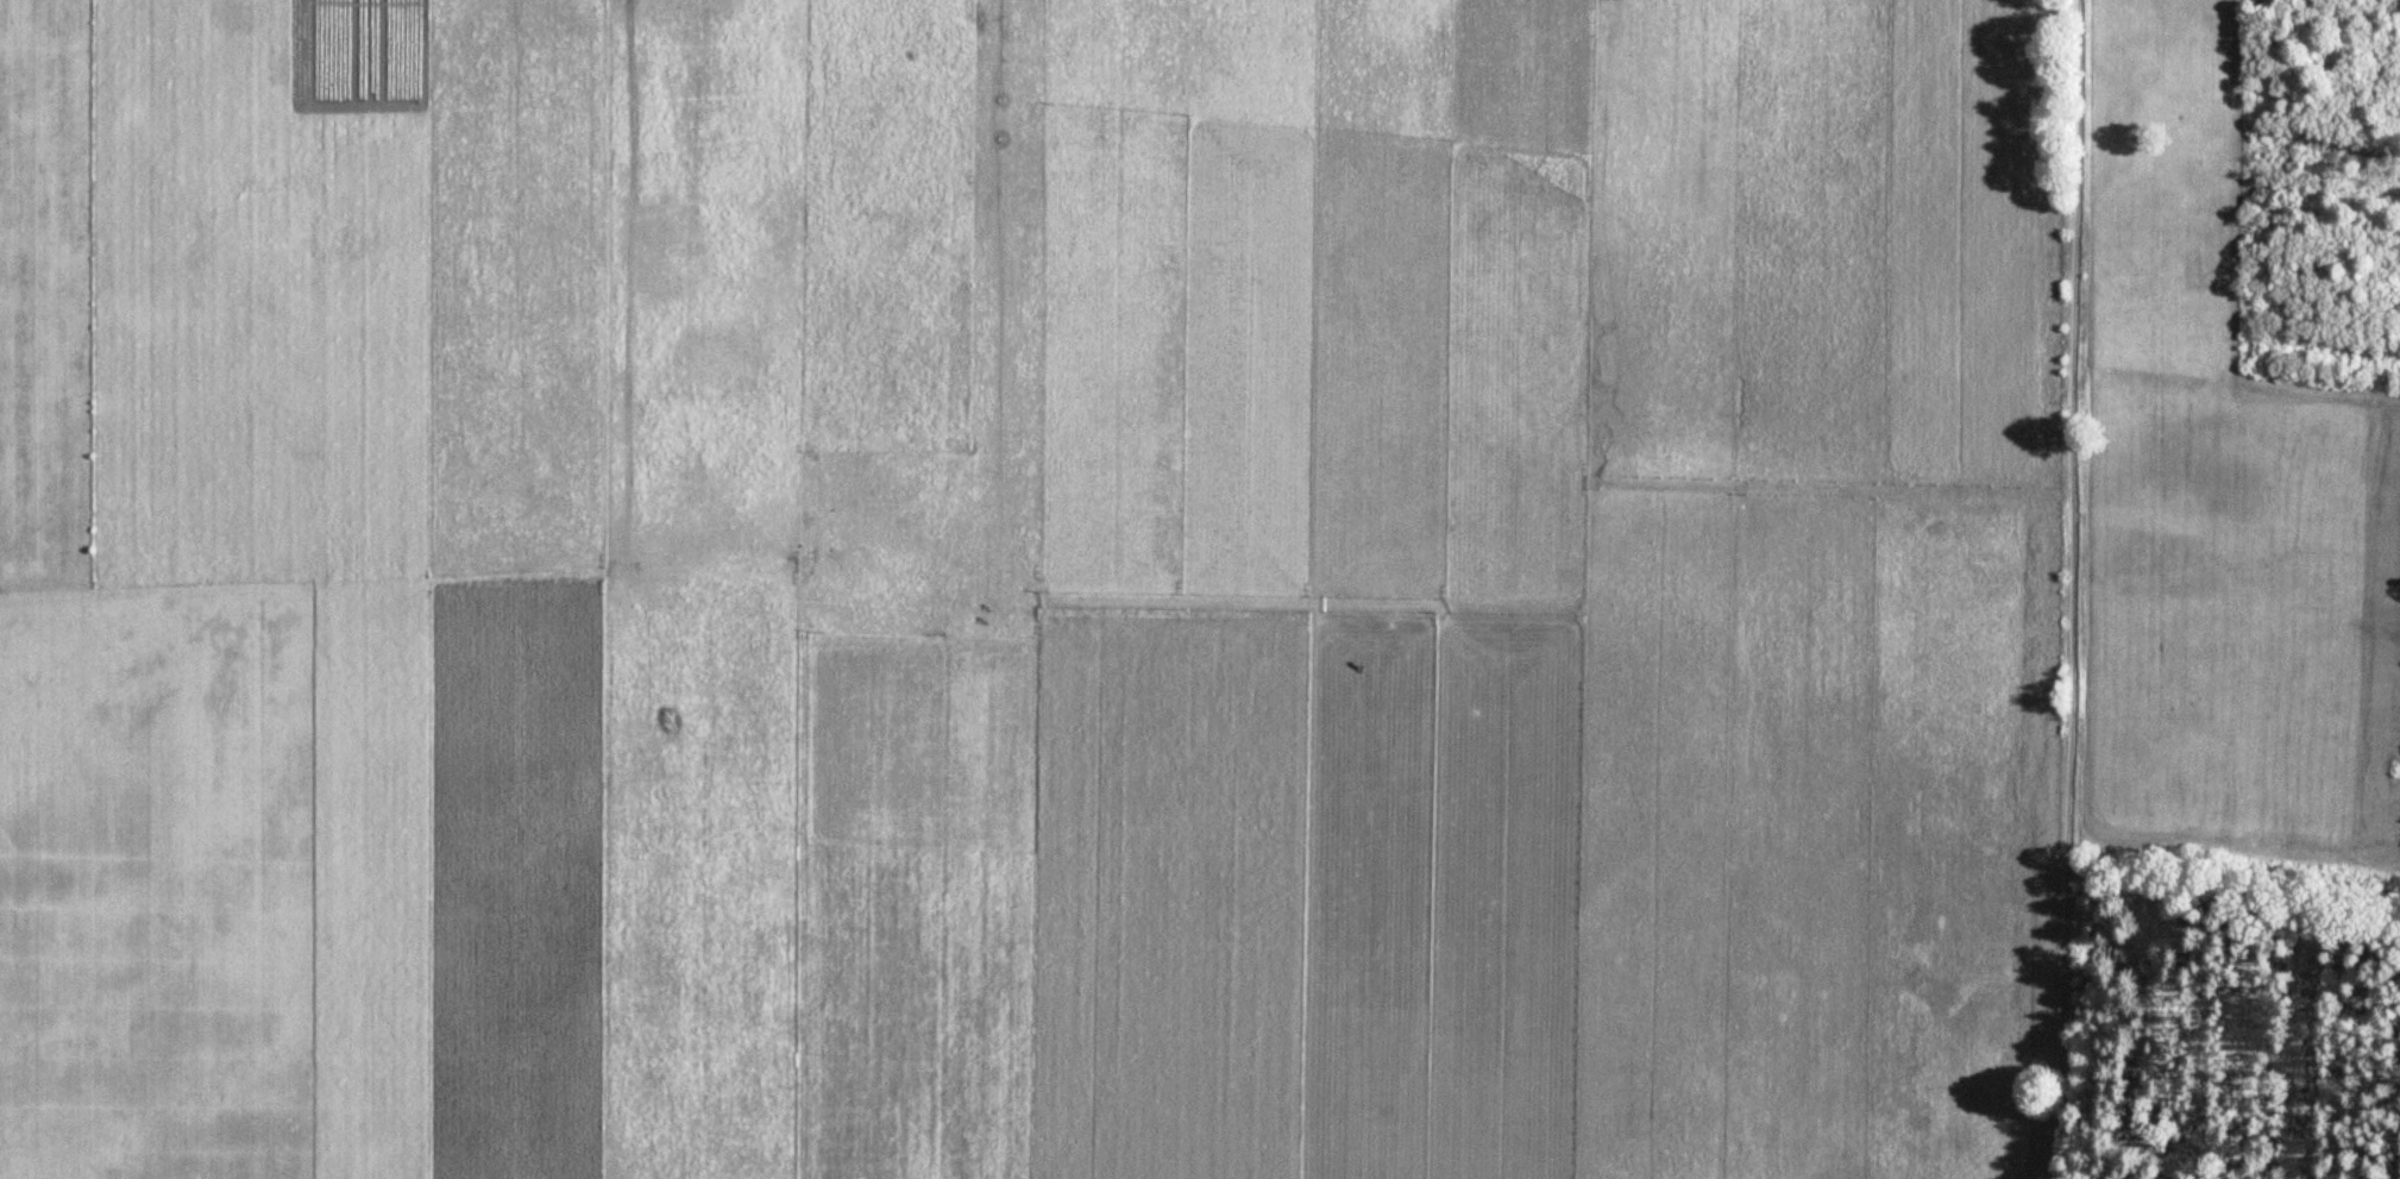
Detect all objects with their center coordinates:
road: (2065, 589)

